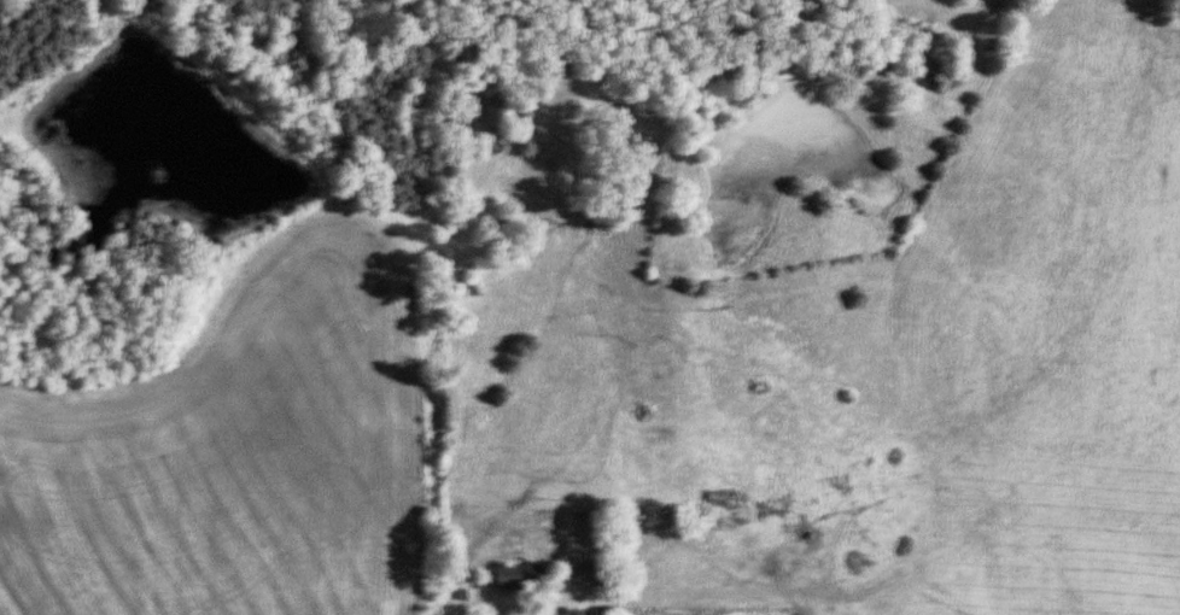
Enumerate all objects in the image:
building: (513, 576)
road: (481, 604)

